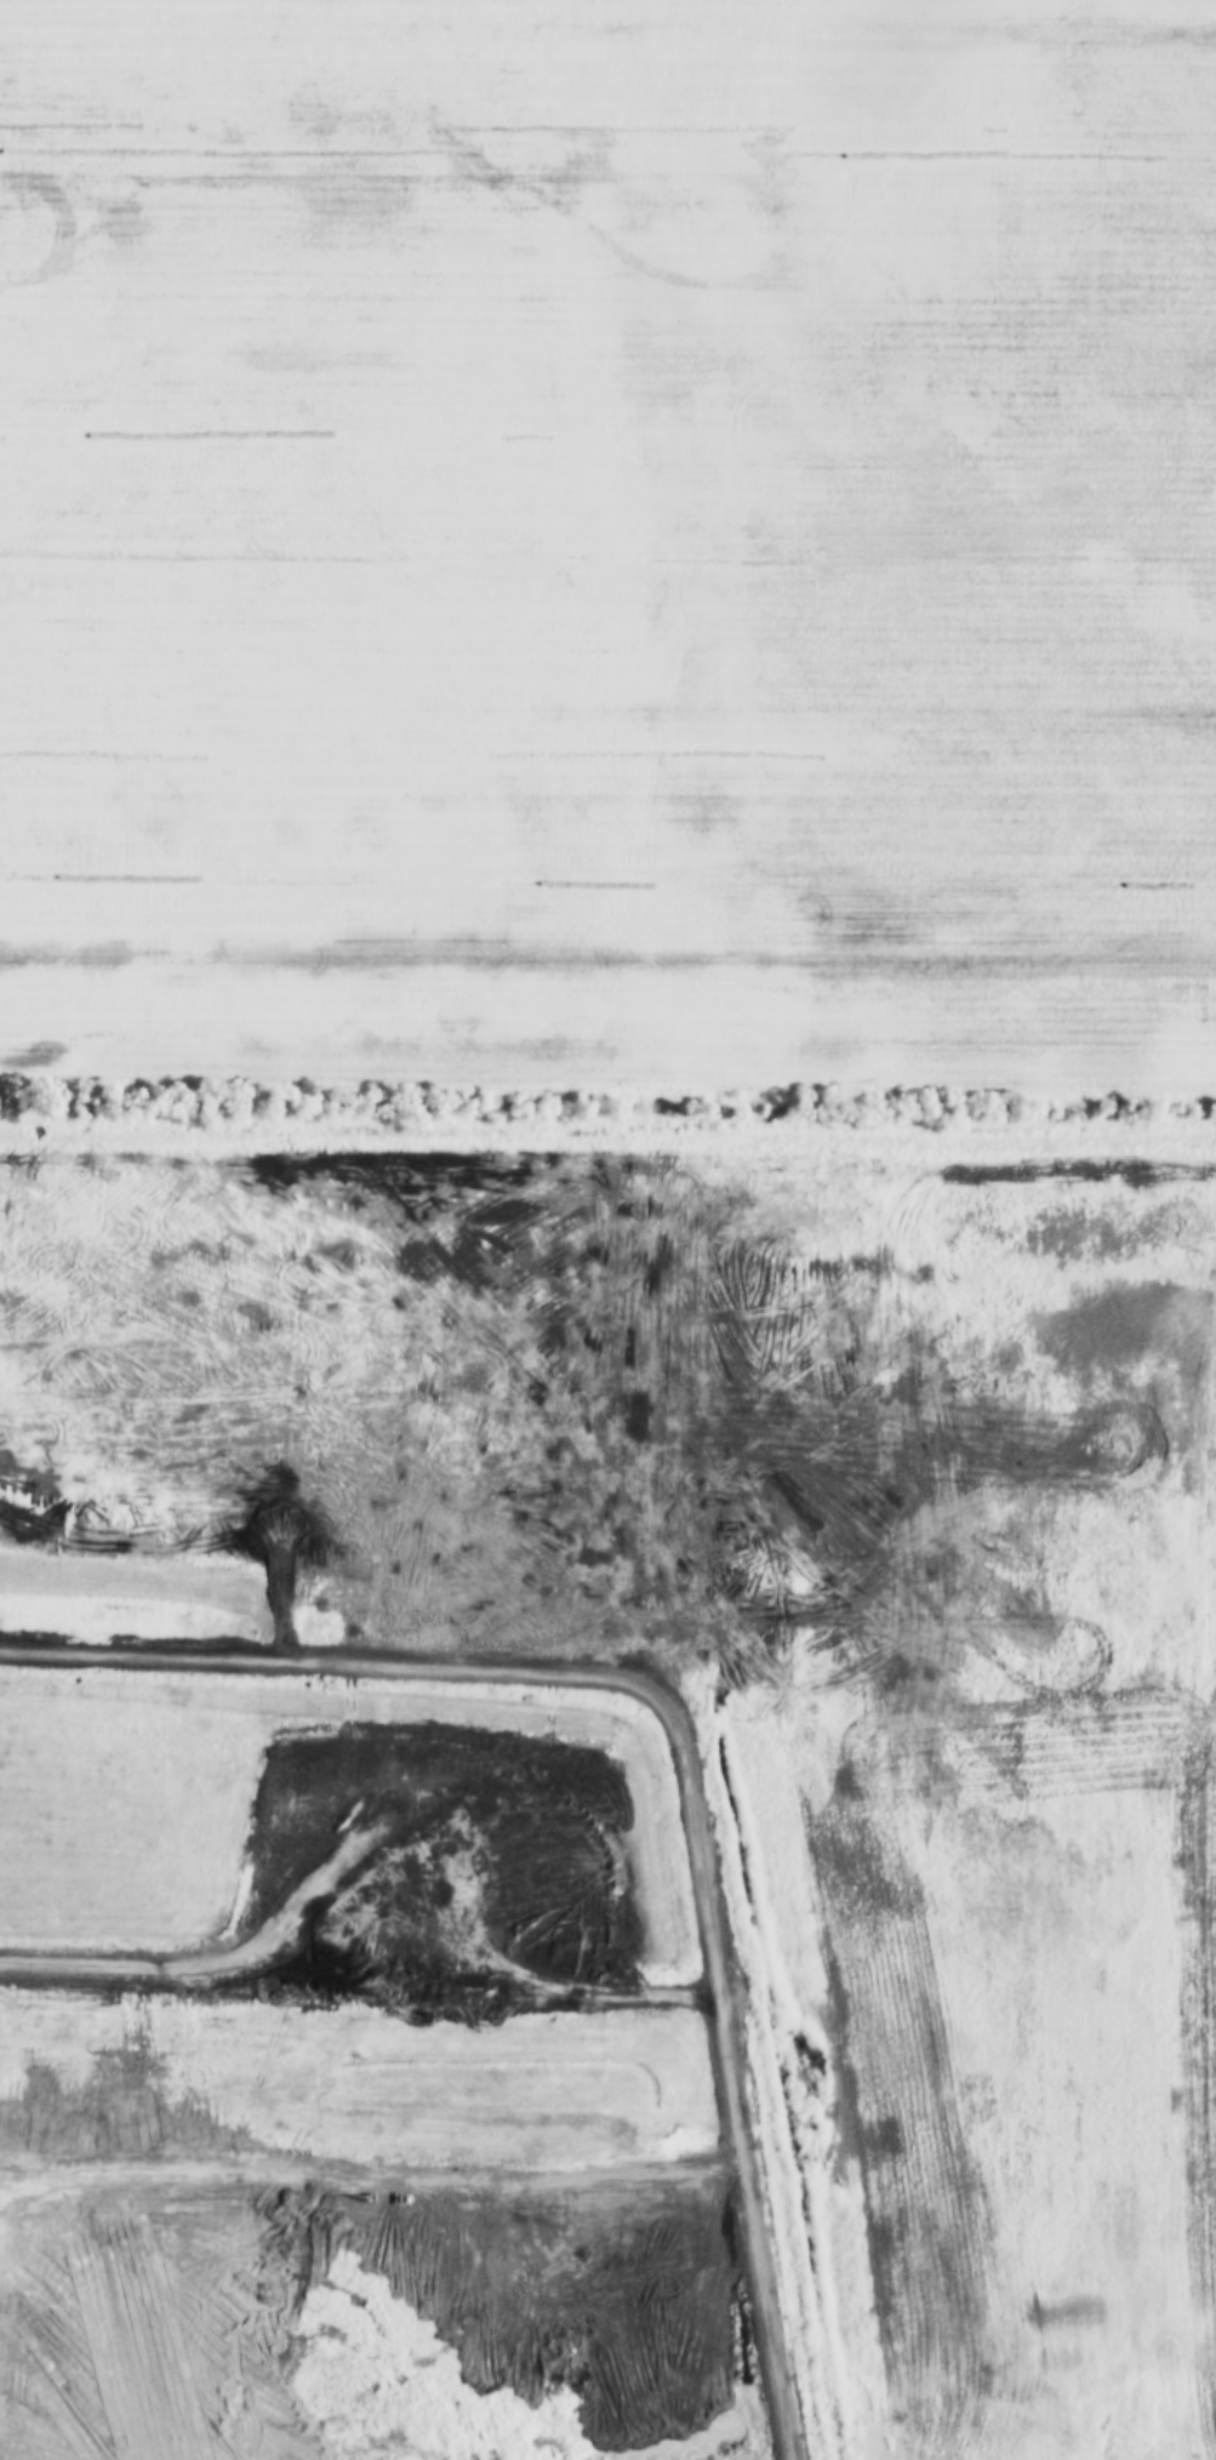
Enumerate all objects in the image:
crop: (609, 552)
crop: (821, 1645)
road: (674, 1762)

